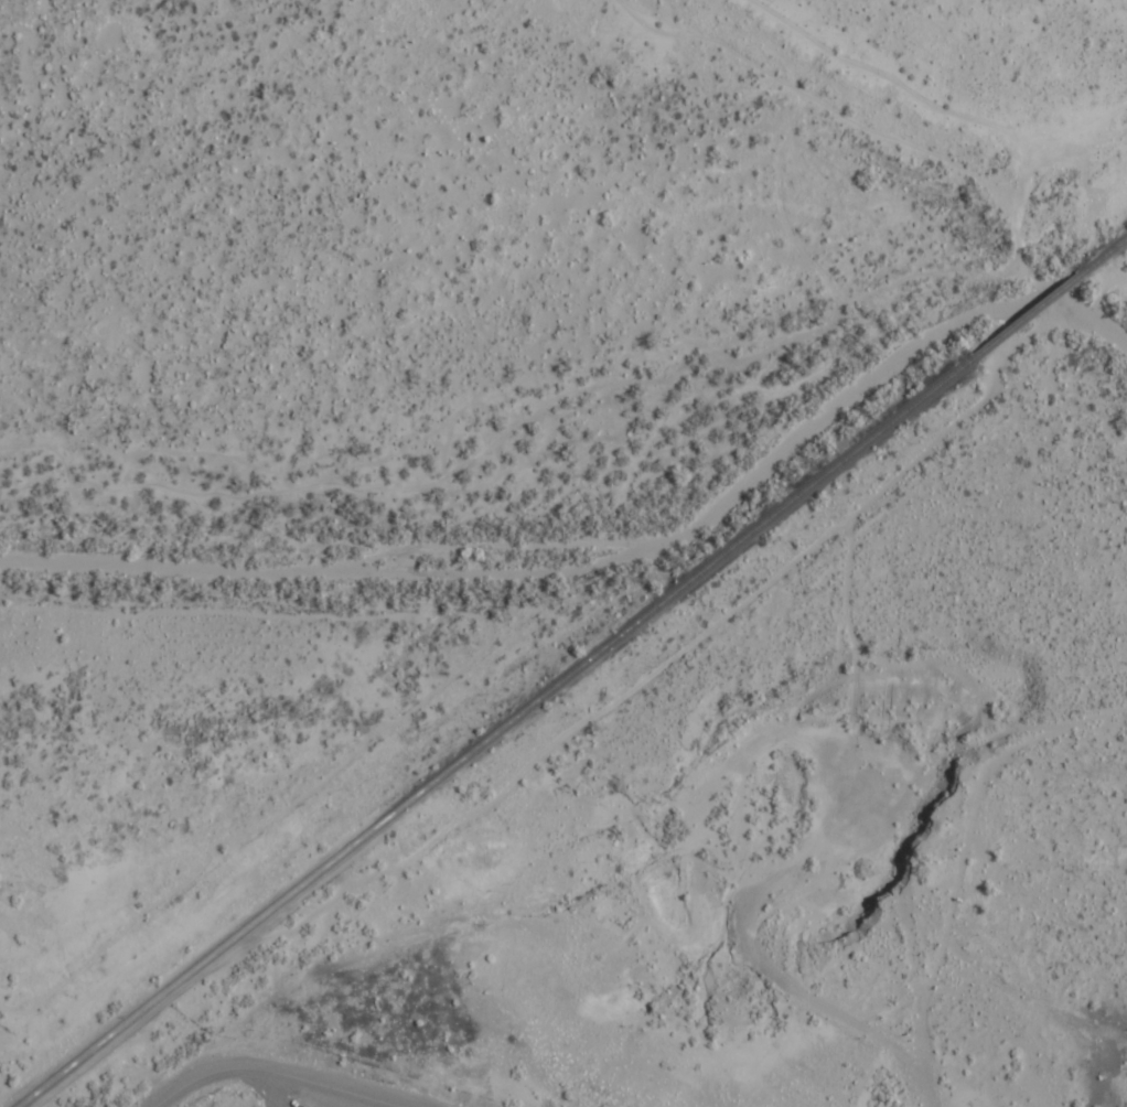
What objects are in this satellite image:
railway: (1106, 254)
railway: (1028, 314)
river: (608, 542)
railway: (493, 732)
road: (618, 850)

